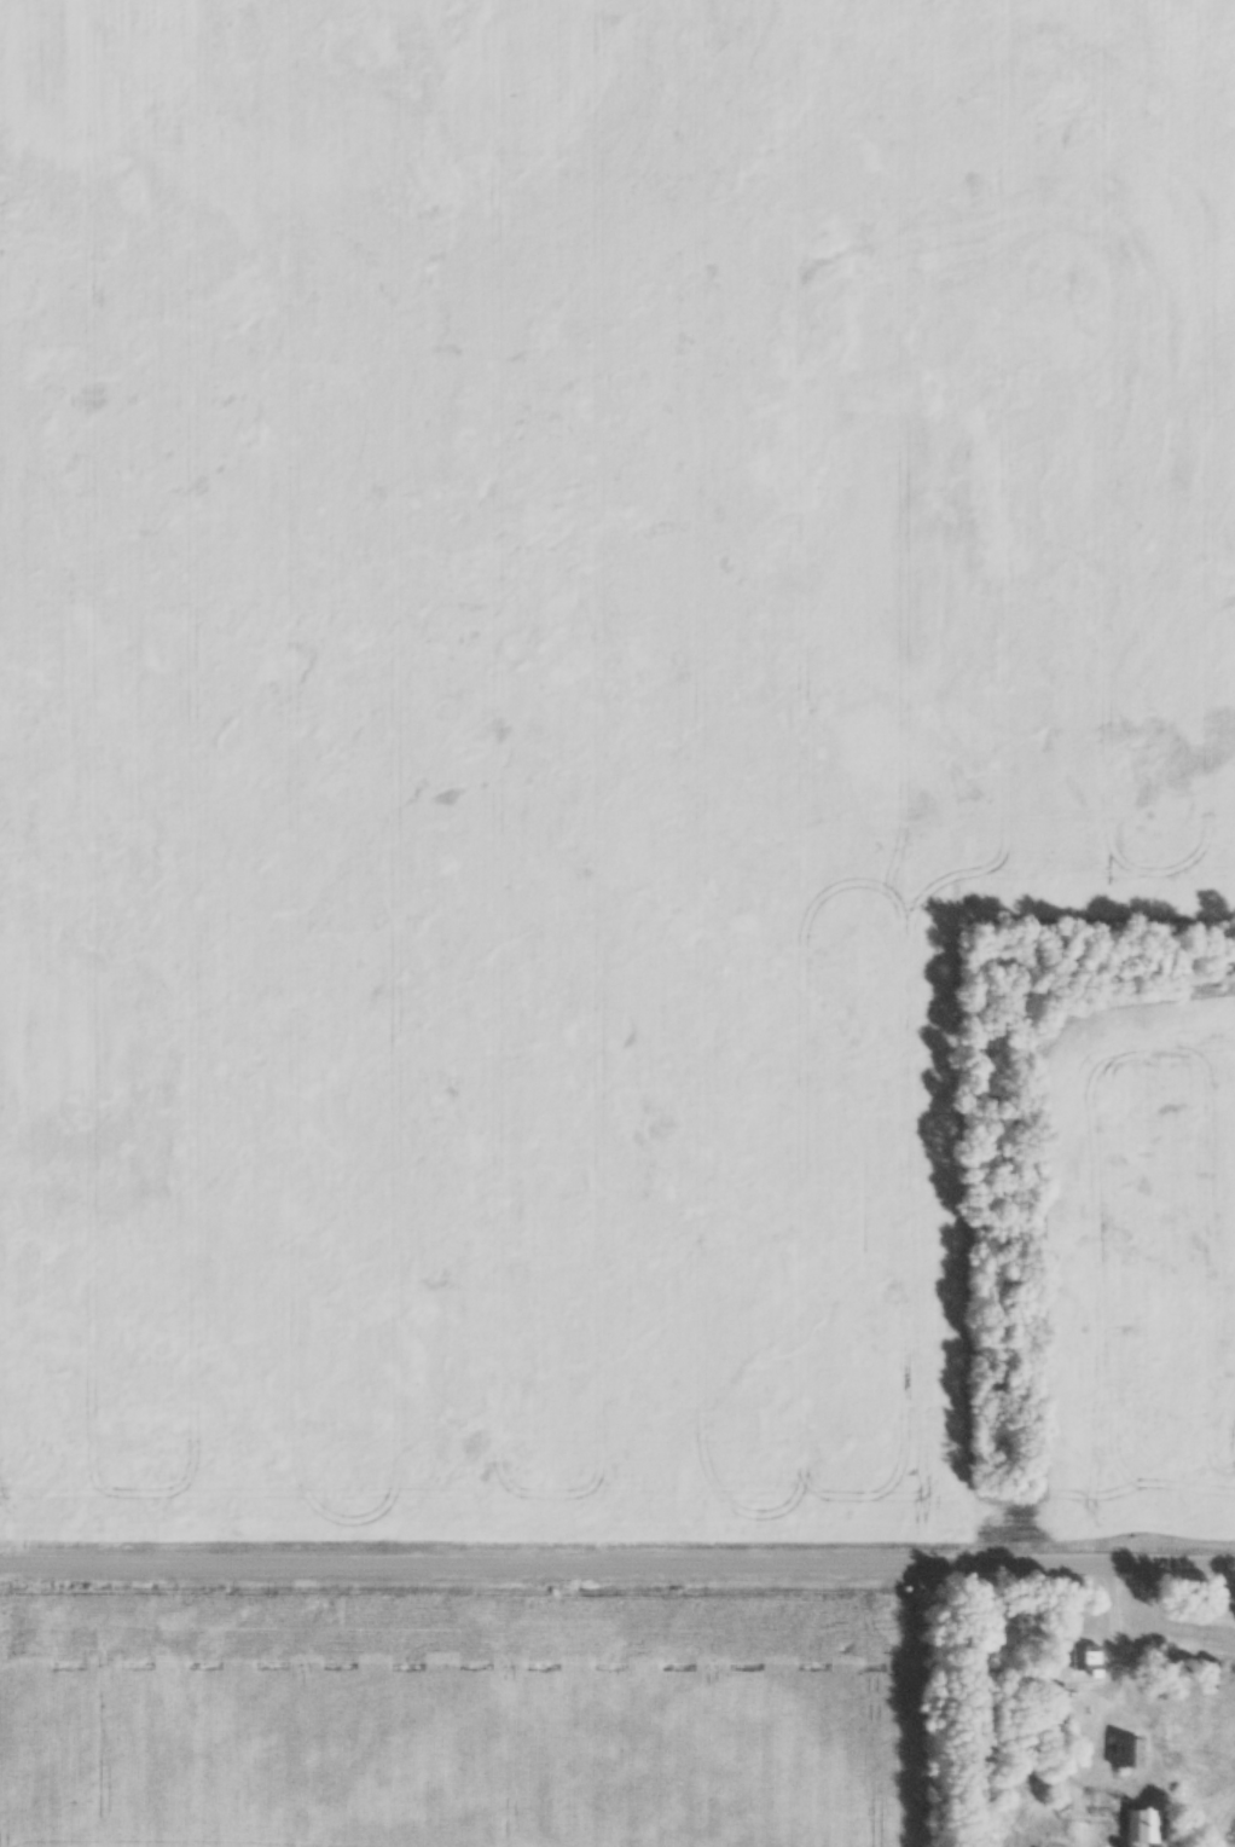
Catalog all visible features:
road: (616, 1570)
road: (1119, 1637)
building: (1083, 1660)
building: (1207, 1667)
building: (1138, 1826)

